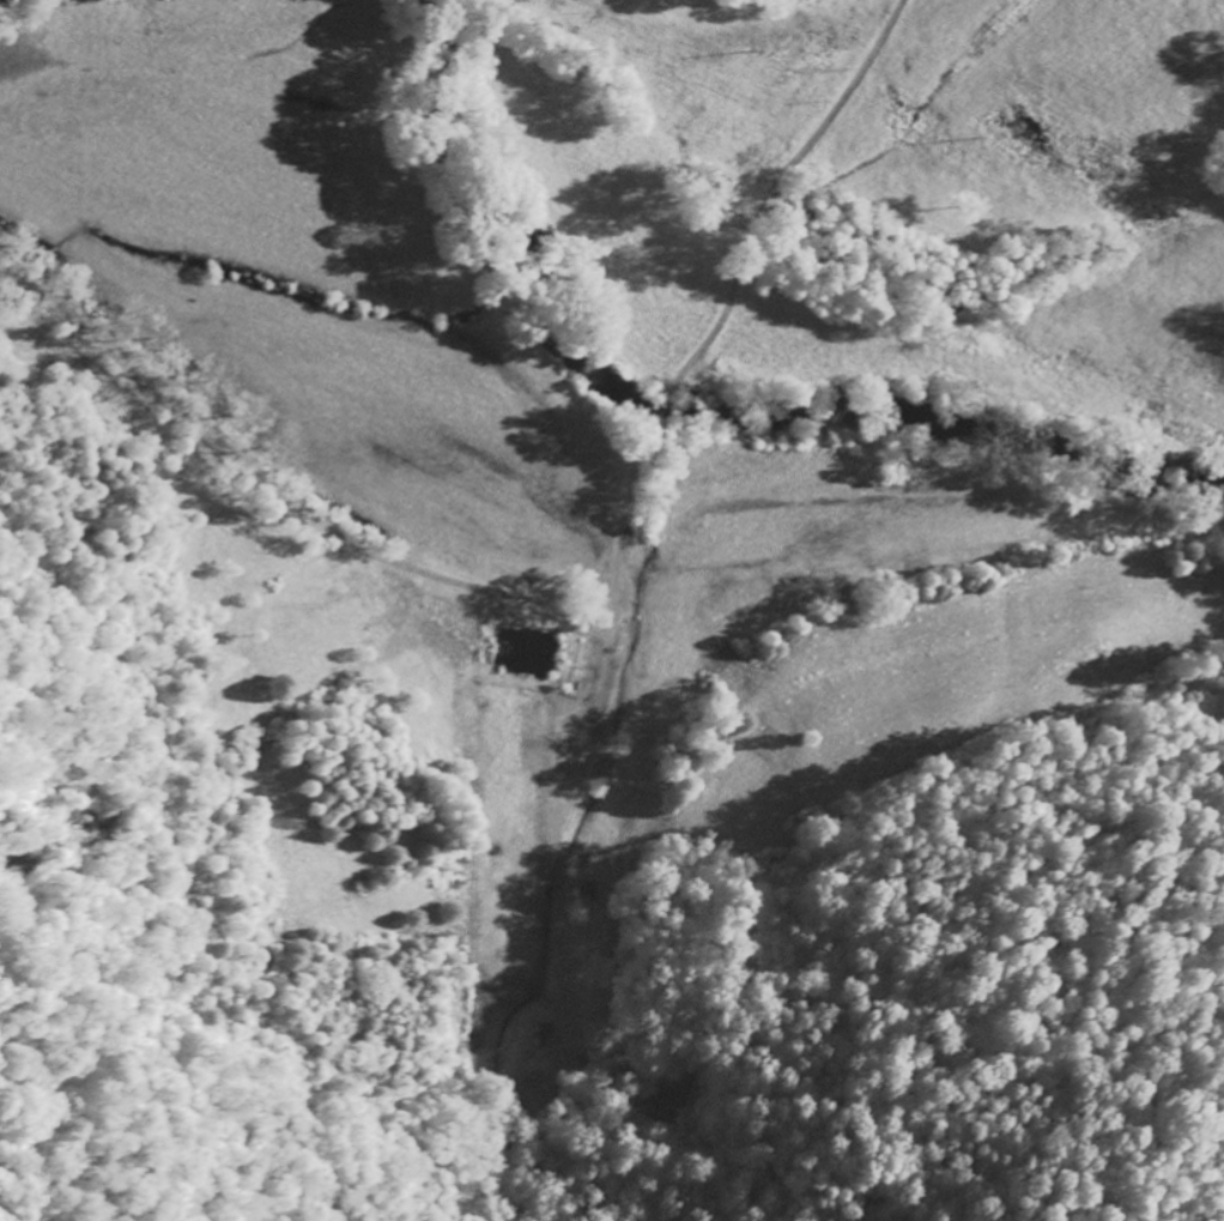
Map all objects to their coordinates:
road: (776, 191)
road: (587, 416)
road: (594, 667)

